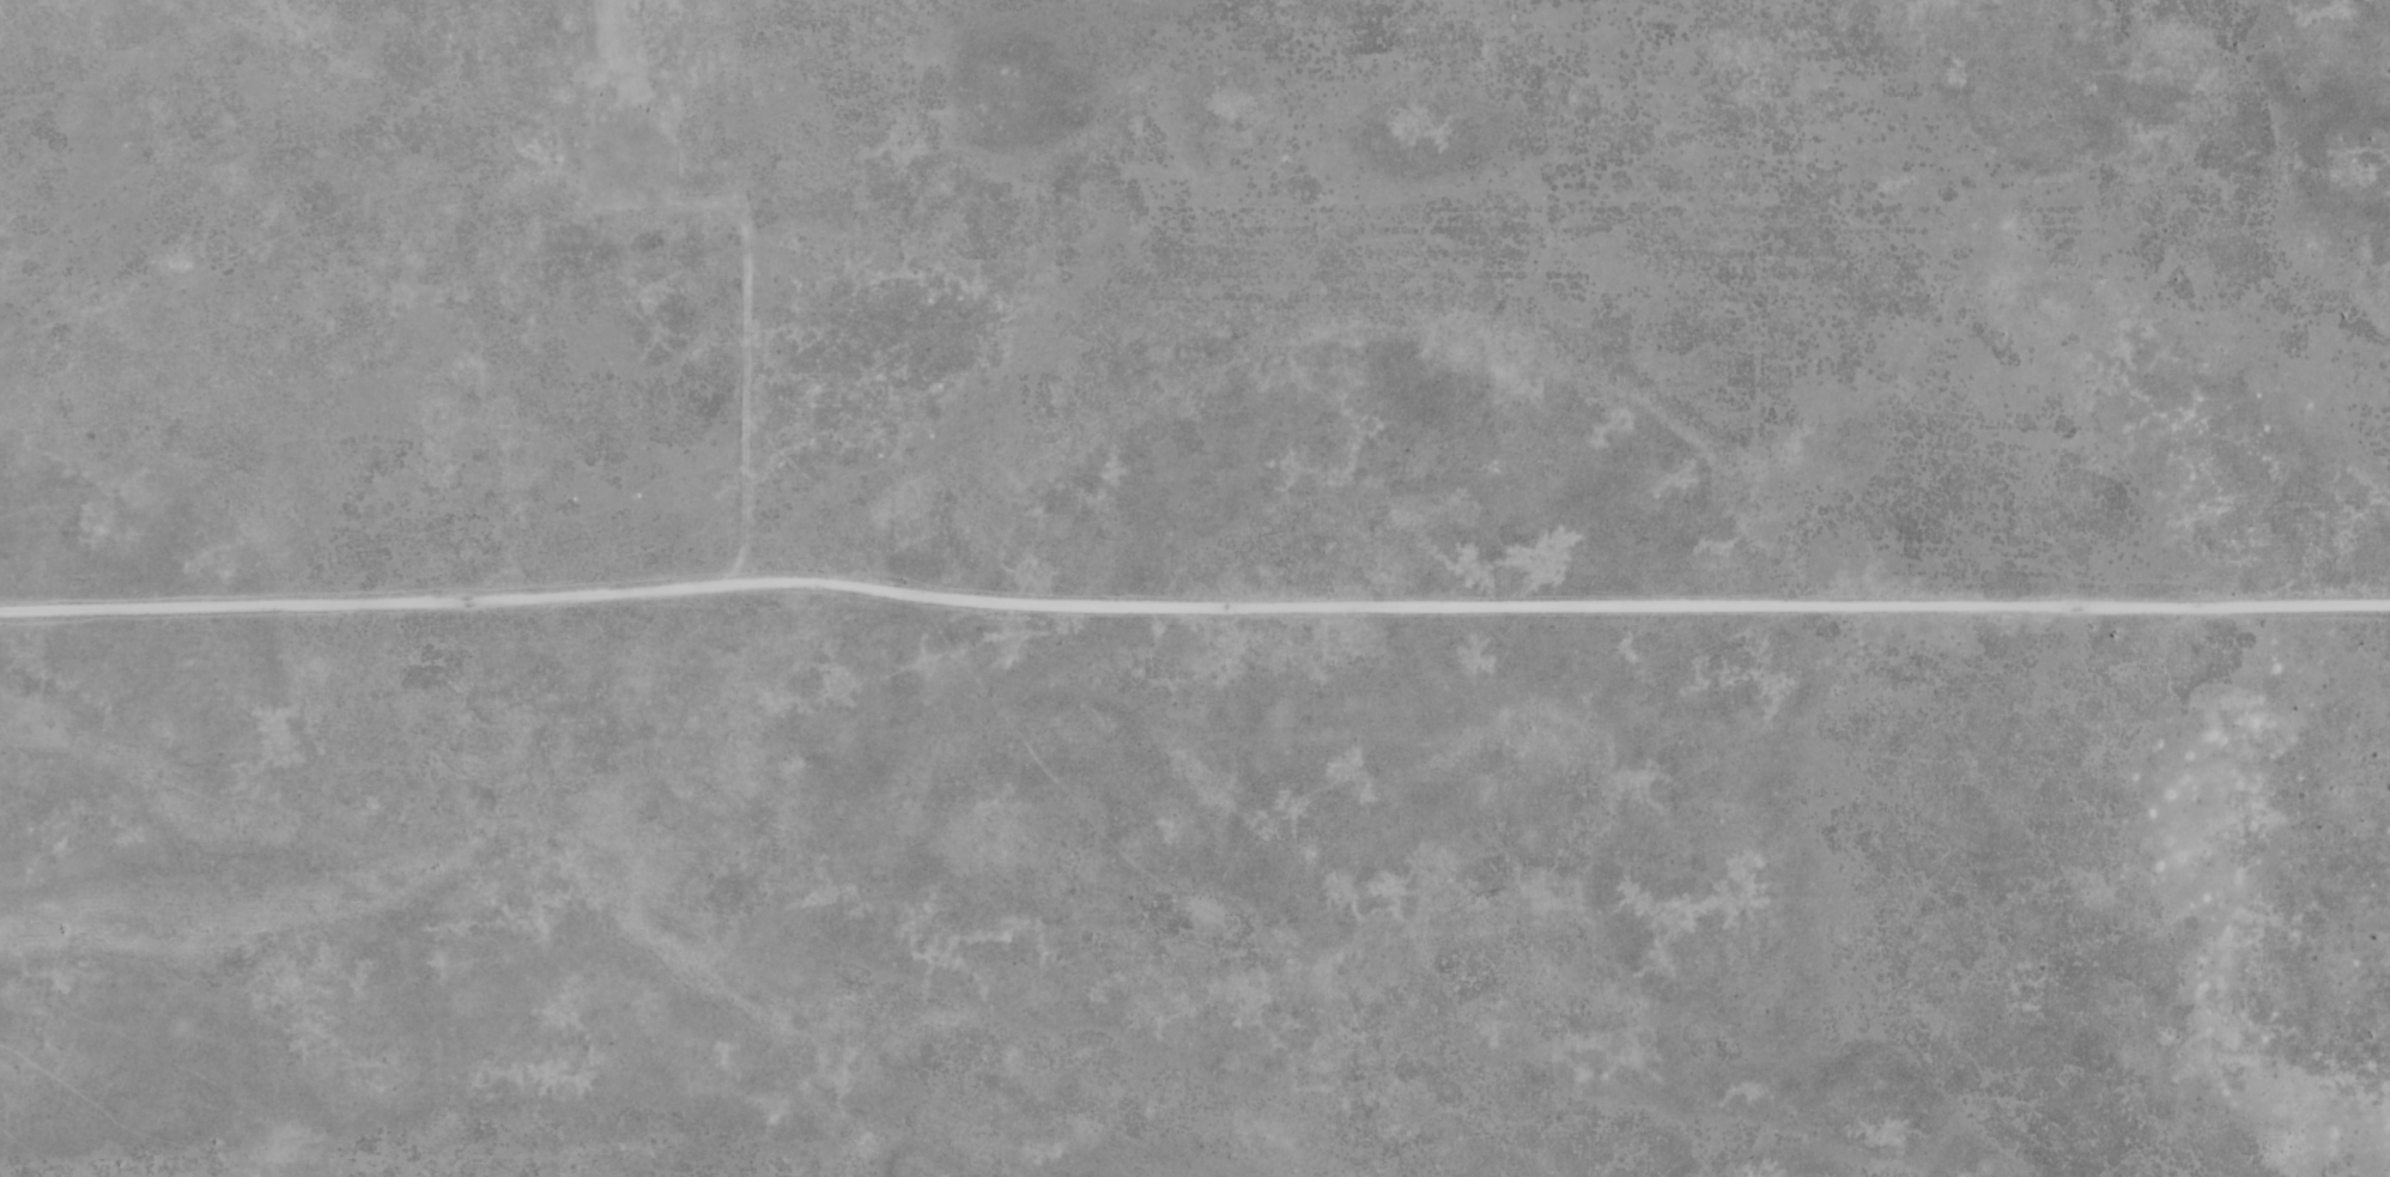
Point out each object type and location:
road: (1194, 645)

